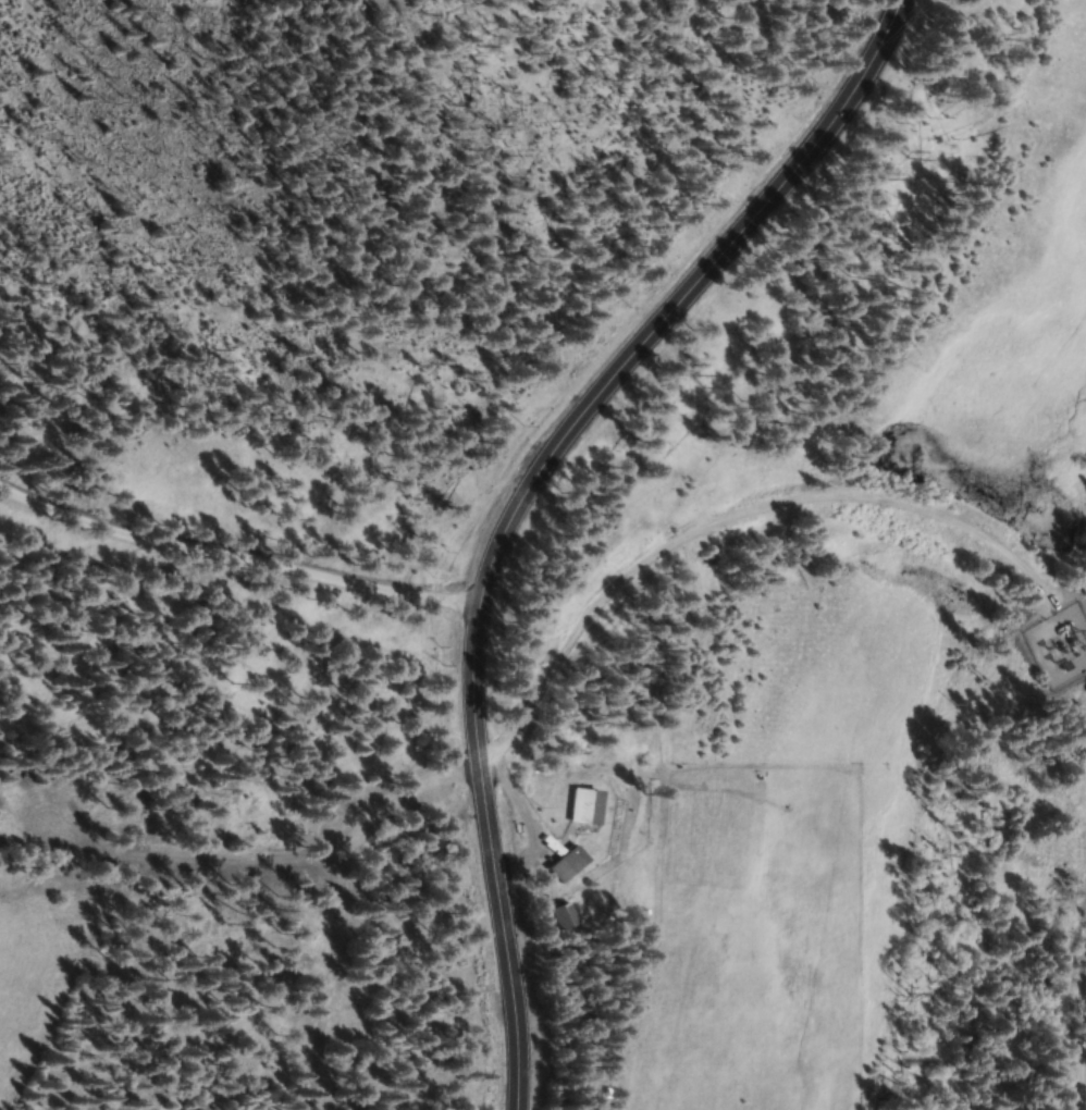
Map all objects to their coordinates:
road: (797, 150)
road: (516, 507)
road: (720, 525)
road: (234, 552)
power substation: (1059, 644)
road: (402, 790)
building: (590, 805)
building: (571, 864)
road: (494, 942)
road: (328, 977)
road: (1084, 1041)

